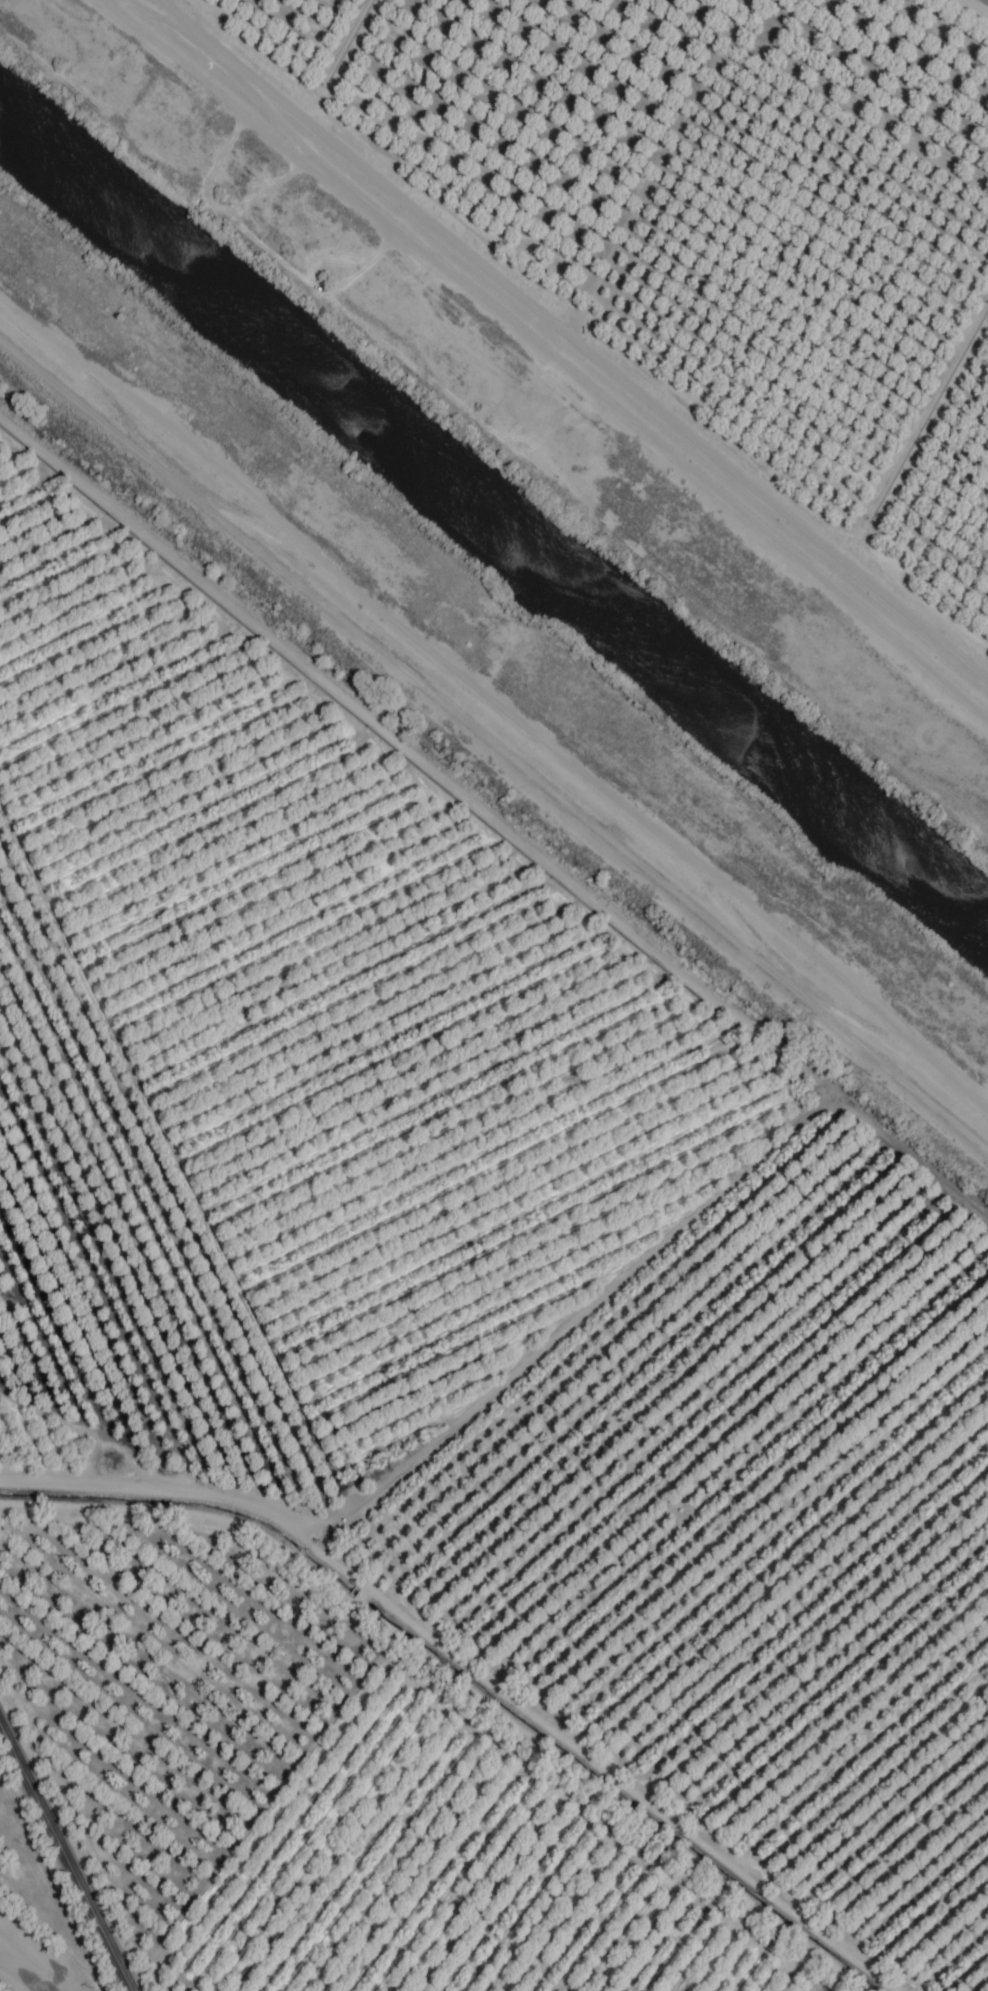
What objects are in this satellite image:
road: (981, 3)
road: (572, 339)
river: (494, 515)
road: (494, 755)
road: (494, 820)
road: (450, 1415)
road: (461, 1683)
road: (593, 1763)
road: (64, 1860)

